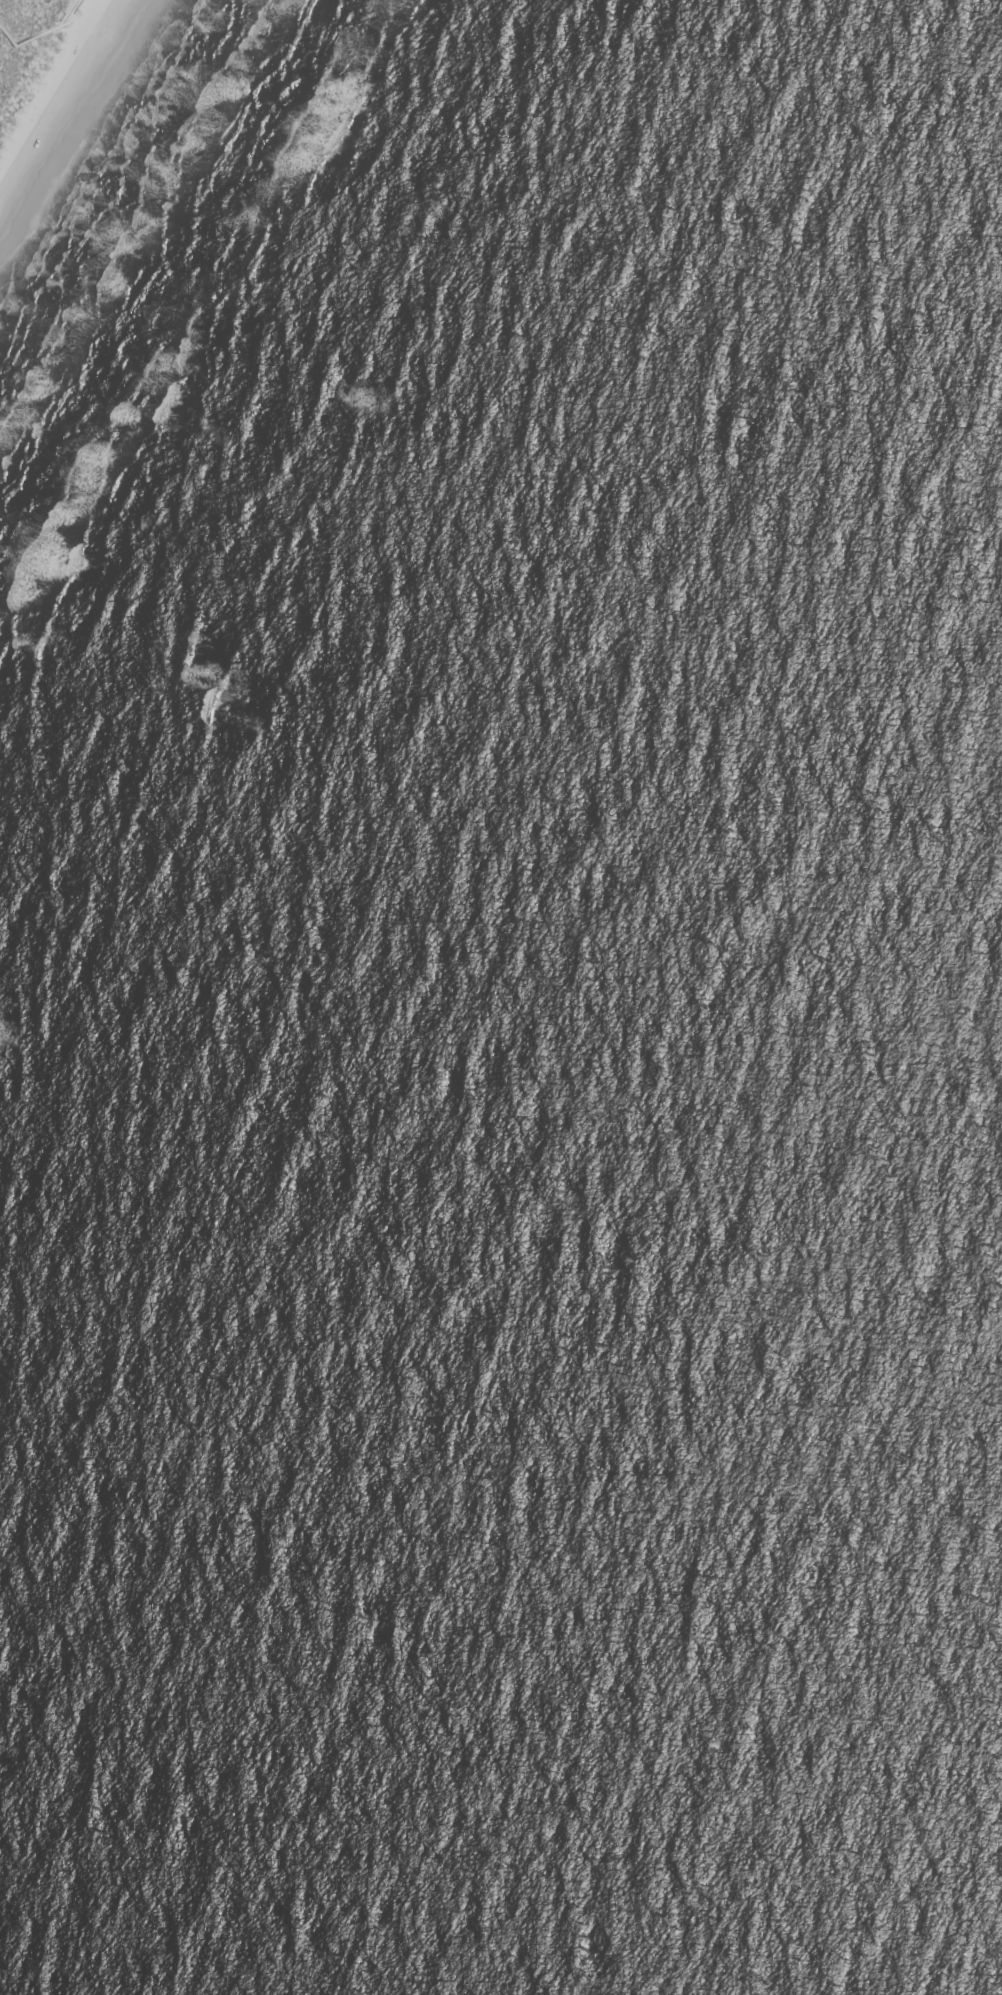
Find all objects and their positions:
road: (75, 9)
road: (41, 35)
road: (60, 98)

